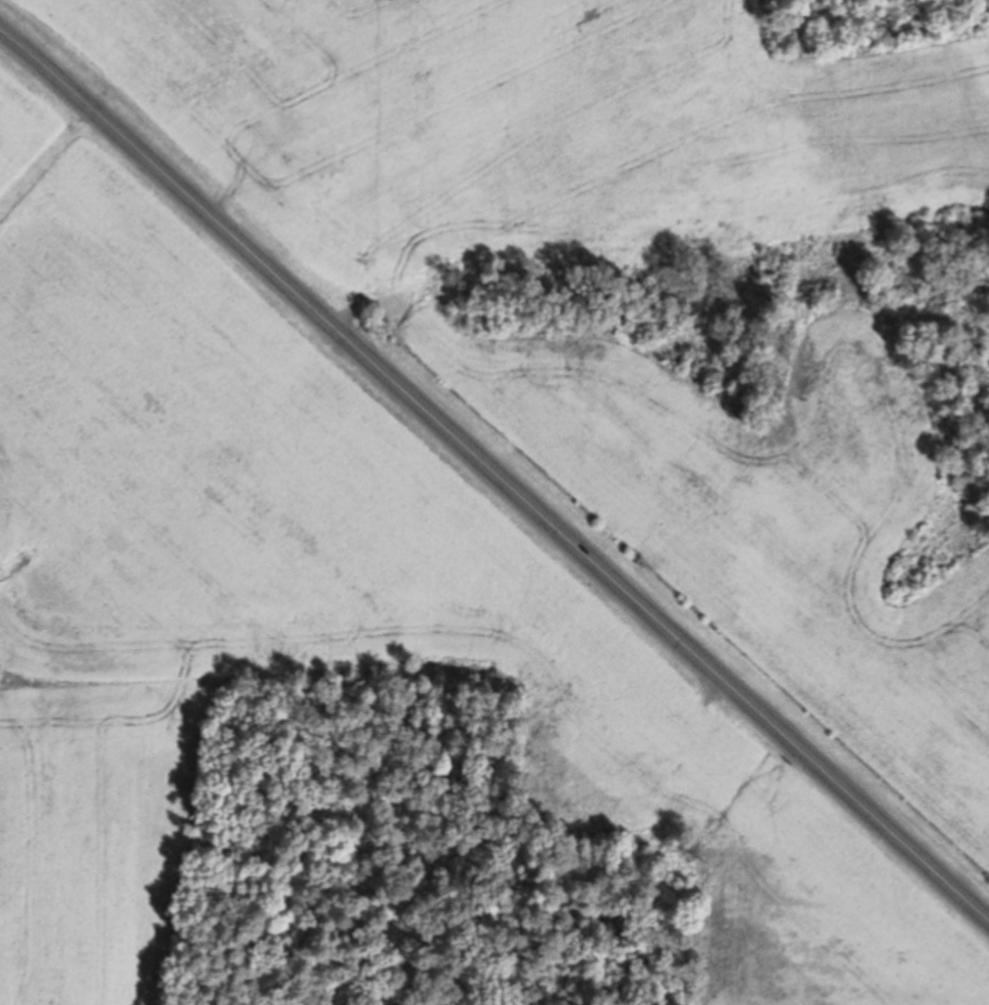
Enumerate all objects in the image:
road: (496, 479)

